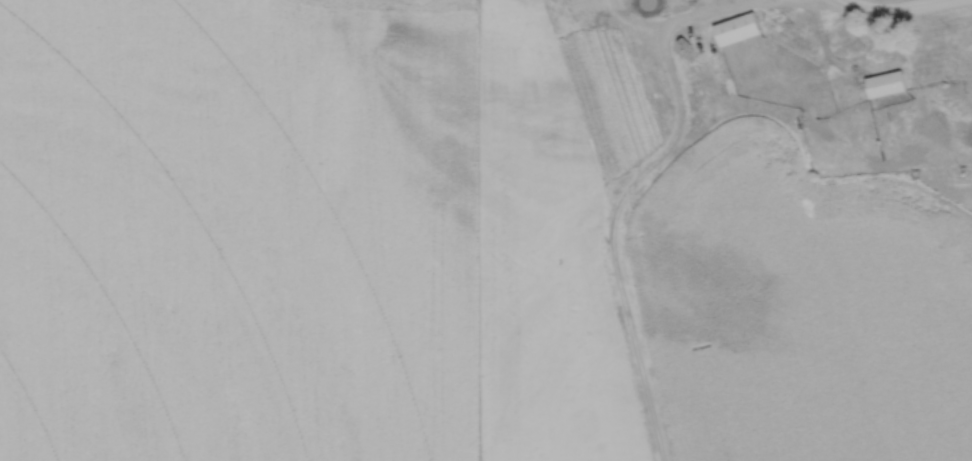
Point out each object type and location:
road: (718, 8)
road: (893, 10)
building: (737, 28)
building: (886, 83)

